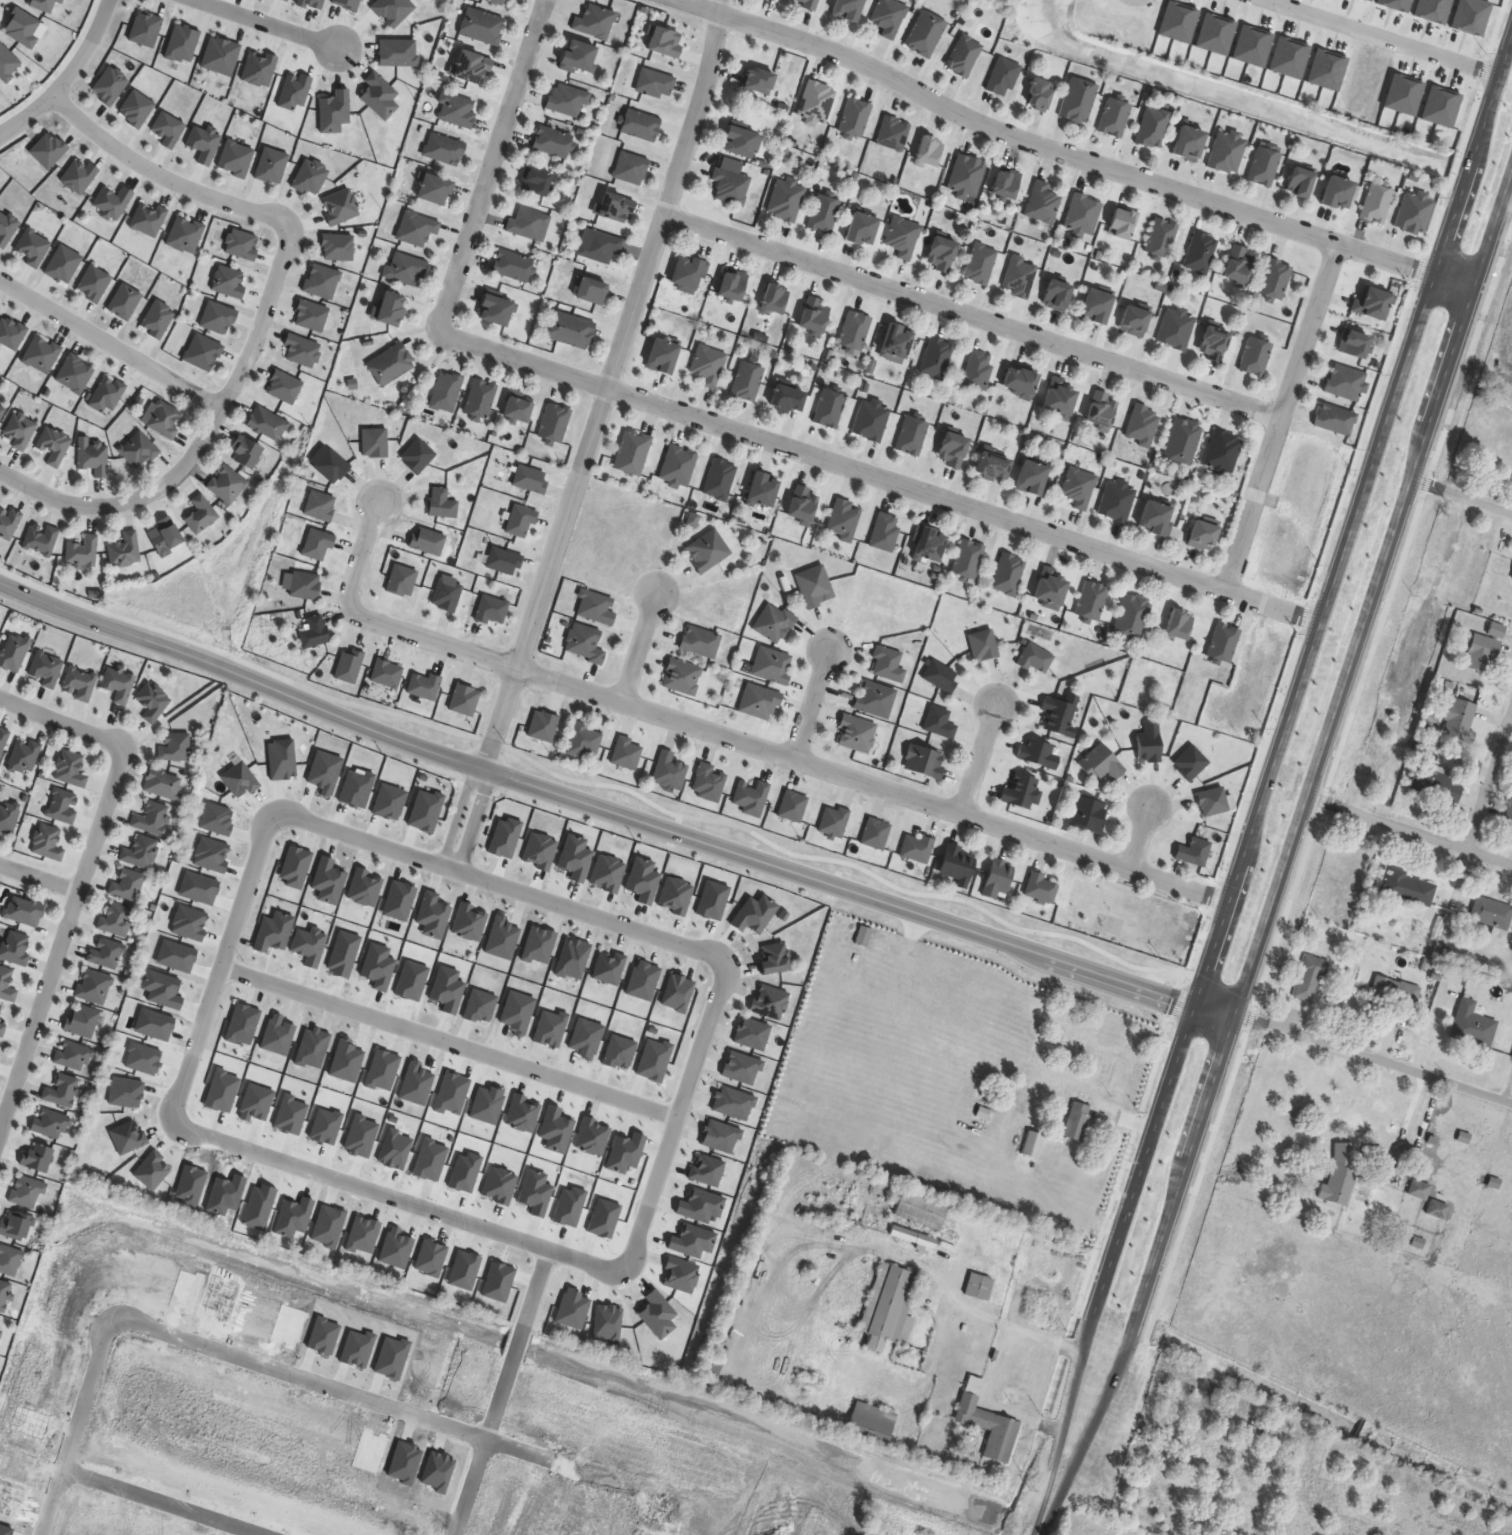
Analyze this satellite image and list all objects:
building: (496, 1)
building: (806, 3)
building: (846, 9)
building: (889, 17)
building: (595, 22)
road: (265, 24)
building: (482, 26)
building: (926, 33)
road: (1379, 36)
building: (664, 42)
building: (577, 56)
building: (963, 56)
building: (470, 66)
building: (1003, 78)
road: (68, 79)
building: (758, 81)
building: (656, 84)
building: (1037, 94)
building: (568, 100)
building: (1078, 101)
building: (817, 103)
building: (456, 111)
building: (1114, 117)
building: (856, 118)
building: (641, 125)
building: (1151, 127)
building: (894, 133)
building: (553, 142)
building: (739, 142)
building: (1187, 143)
road: (1051, 148)
building: (444, 150)
building: (928, 152)
building: (1227, 153)
road: (492, 165)
building: (1263, 167)
building: (631, 168)
building: (967, 176)
building: (535, 182)
building: (1005, 183)
building: (1298, 183)
building: (731, 186)
building: (433, 190)
building: (1335, 193)
building: (786, 200)
building: (1042, 203)
building: (1376, 204)
building: (615, 207)
building: (1414, 213)
building: (824, 214)
building: (1083, 215)
building: (1121, 224)
building: (530, 225)
building: (417, 229)
building: (861, 229)
building: (903, 238)
building: (1161, 239)
building: (601, 247)
building: (1200, 253)
building: (941, 254)
building: (981, 264)
building: (513, 266)
building: (1237, 266)
building: (406, 270)
building: (687, 274)
building: (1019, 276)
building: (1275, 280)
road: (1454, 280)
building: (731, 285)
building: (591, 291)
building: (1055, 295)
building: (774, 299)
building: (1370, 303)
building: (1094, 306)
building: (389, 308)
building: (494, 310)
building: (813, 315)
road: (974, 315)
road: (263, 319)
building: (1132, 321)
building: (1176, 329)
building: (573, 330)
building: (855, 330)
road: (111, 339)
building: (894, 342)
building: (1212, 344)
building: (1353, 344)
building: (661, 356)
building: (1256, 357)
building: (936, 358)
building: (391, 364)
building: (709, 365)
building: (978, 370)
building: (748, 381)
building: (1346, 382)
building: (1018, 383)
road: (609, 387)
building: (447, 392)
building: (1059, 398)
building: (481, 399)
building: (786, 399)
building: (830, 409)
building: (517, 410)
building: (1101, 411)
building: (2, 413)
road: (1283, 417)
building: (1510, 418)
building: (165, 420)
building: (872, 420)
building: (1335, 420)
building: (556, 423)
building: (266, 424)
building: (1142, 425)
building: (20, 431)
building: (912, 436)
building: (1474, 436)
building: (1183, 441)
building: (54, 447)
building: (951, 449)
building: (139, 450)
building: (1223, 451)
building: (633, 452)
building: (245, 453)
building: (94, 457)
building: (679, 466)
building: (990, 466)
road: (876, 476)
building: (721, 479)
building: (1032, 479)
building: (227, 485)
building: (1079, 488)
building: (761, 490)
road: (1462, 499)
building: (1117, 501)
building: (442, 504)
building: (802, 505)
building: (321, 506)
building: (200, 515)
road: (1350, 516)
building: (1154, 518)
building: (843, 520)
building: (9, 523)
building: (886, 532)
building: (1201, 536)
building: (163, 538)
building: (41, 539)
building: (1436, 541)
building: (428, 542)
building: (318, 544)
building: (928, 545)
building: (125, 550)
building: (708, 550)
building: (83, 552)
road: (364, 554)
building: (968, 559)
building: (1008, 574)
building: (305, 586)
building: (815, 586)
building: (1433, 587)
building: (1050, 590)
road: (1375, 595)
building: (1092, 602)
building: (1132, 617)
building: (774, 623)
building: (1179, 625)
building: (701, 642)
building: (585, 644)
building: (1223, 644)
building: (984, 645)
road: (641, 648)
building: (1484, 649)
building: (14, 652)
building: (1036, 659)
building: (773, 665)
building: (889, 665)
building: (45, 669)
building: (941, 676)
road: (241, 677)
building: (683, 677)
building: (81, 683)
building: (119, 684)
building: (425, 687)
building: (876, 699)
building: (153, 702)
building: (760, 702)
road: (813, 704)
building: (1059, 717)
building: (1459, 719)
building: (940, 723)
building: (857, 734)
building: (584, 742)
building: (1149, 744)
building: (2, 746)
building: (175, 747)
building: (1368, 752)
building: (626, 753)
building: (1039, 754)
building: (24, 756)
road: (787, 756)
road: (980, 759)
building: (925, 763)
building: (1190, 763)
building: (1101, 764)
building: (72, 769)
building: (669, 772)
building: (709, 783)
road: (1490, 783)
building: (163, 784)
building: (1436, 785)
building: (1023, 792)
building: (752, 798)
building: (1212, 802)
building: (64, 806)
building: (793, 807)
building: (1509, 811)
building: (1089, 814)
building: (8, 818)
building: (151, 818)
road: (466, 820)
building: (834, 821)
road: (1410, 829)
building: (876, 834)
road: (1141, 838)
building: (49, 843)
building: (917, 848)
building: (140, 852)
building: (1193, 852)
building: (1333, 864)
building: (956, 865)
road: (85, 874)
road: (40, 877)
building: (997, 879)
building: (128, 884)
road: (500, 886)
building: (1041, 888)
building: (1411, 888)
road: (838, 889)
building: (25, 911)
building: (1492, 913)
building: (117, 918)
building: (16, 947)
building: (106, 953)
road: (220, 966)
building: (1311, 979)
building: (7, 985)
building: (95, 986)
building: (1403, 992)
building: (0, 1008)
road: (1215, 1010)
building: (1110, 1019)
building: (83, 1021)
building: (1473, 1025)
building: (3, 1029)
road: (448, 1042)
building: (73, 1055)
road: (1374, 1057)
building: (62, 1090)
road: (677, 1114)
building: (1077, 1122)
building: (50, 1123)
road: (1144, 1154)
building: (37, 1158)
building: (1341, 1174)
building: (1420, 1190)
building: (27, 1192)
road: (400, 1200)
building: (920, 1209)
building: (1437, 1210)
road: (1168, 1222)
building: (16, 1226)
building: (913, 1238)
building: (979, 1287)
building: (4, 1296)
building: (890, 1307)
road: (973, 1312)
building: (1, 1328)
road: (1004, 1345)
building: (711, 1369)
road: (502, 1392)
road: (1069, 1399)
road: (414, 1414)
building: (987, 1422)
building: (871, 1424)
road: (75, 1427)
road: (1072, 1464)
building: (1105, 1496)
road: (161, 1502)
road: (1045, 1517)

